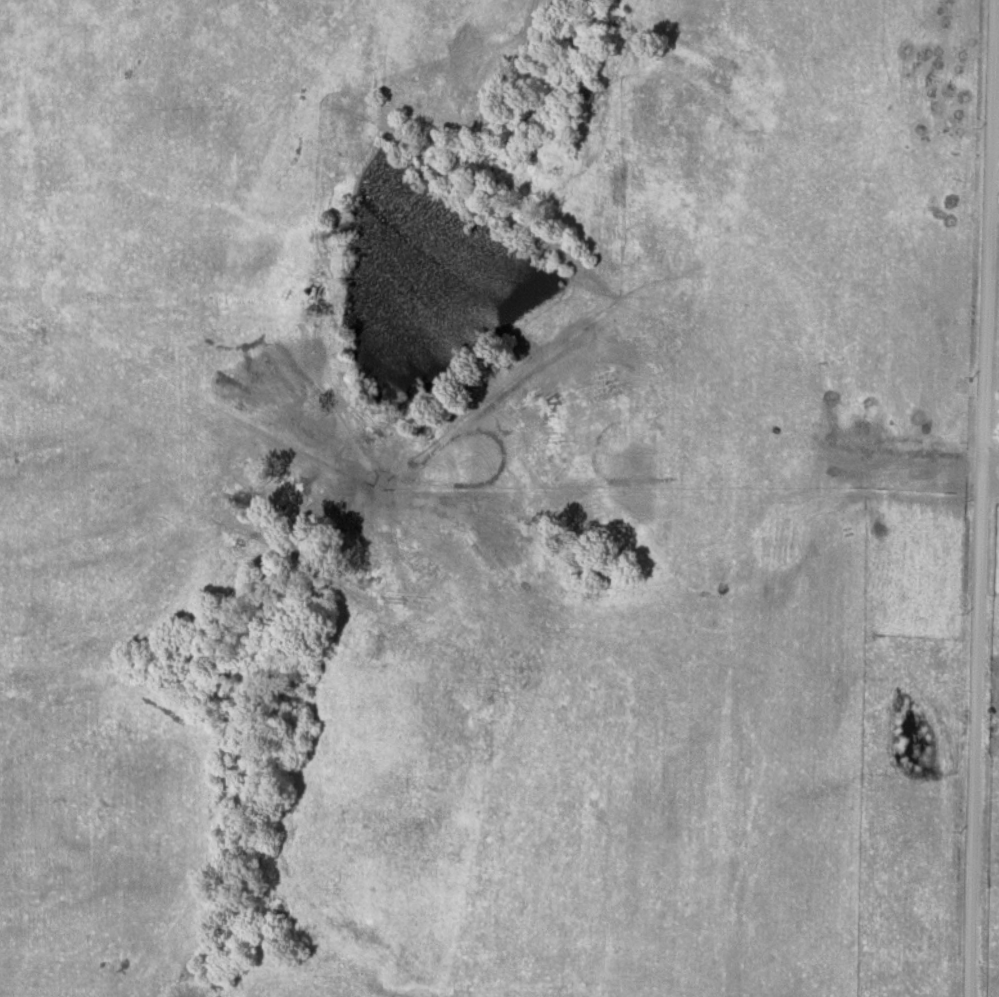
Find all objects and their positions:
road: (978, 498)

